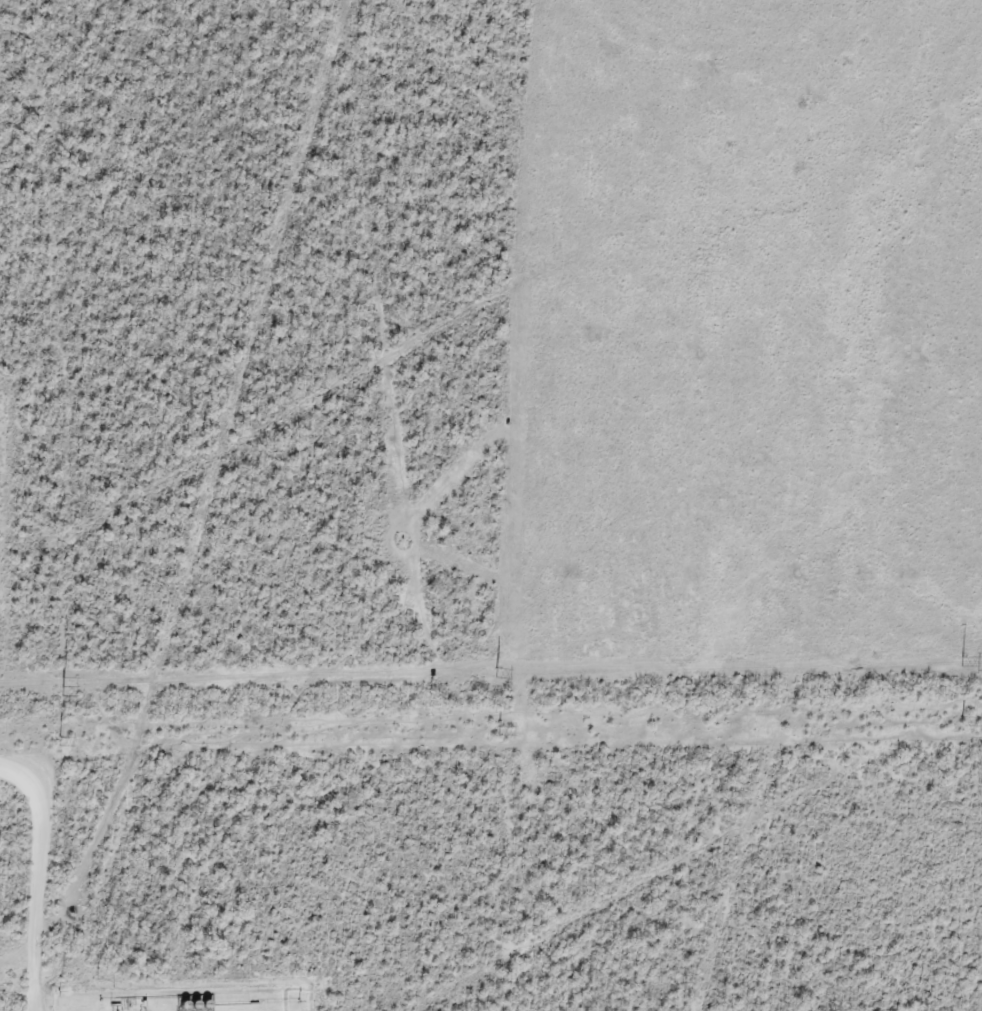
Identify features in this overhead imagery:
power tower: (961, 660)
power tower: (496, 672)
power tower: (60, 681)
power tower: (963, 722)
power tower: (499, 732)
power tower: (59, 741)
road: (36, 881)

